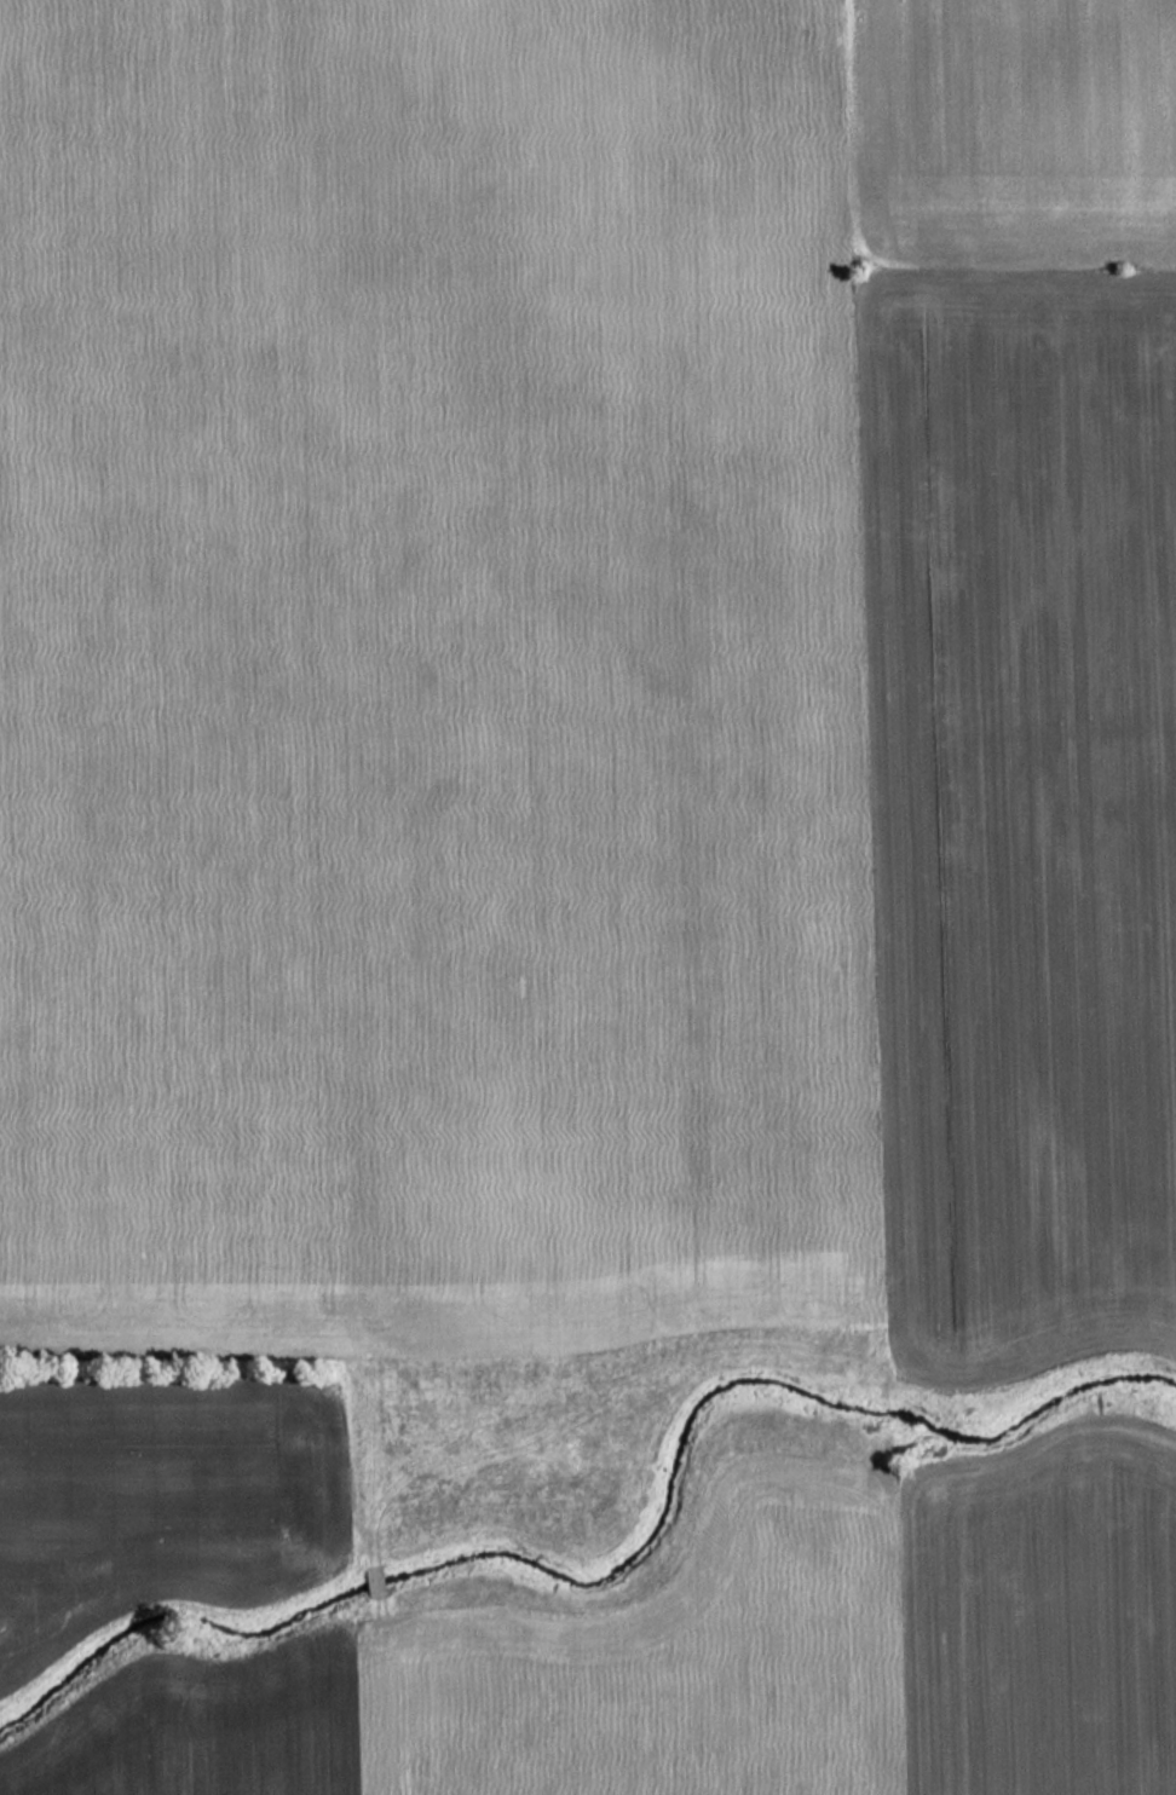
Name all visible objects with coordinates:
crop: (1009, 125)
crop: (428, 680)
crop: (1019, 796)
crop: (160, 1503)
crop: (1038, 1616)
crop: (541, 1683)

